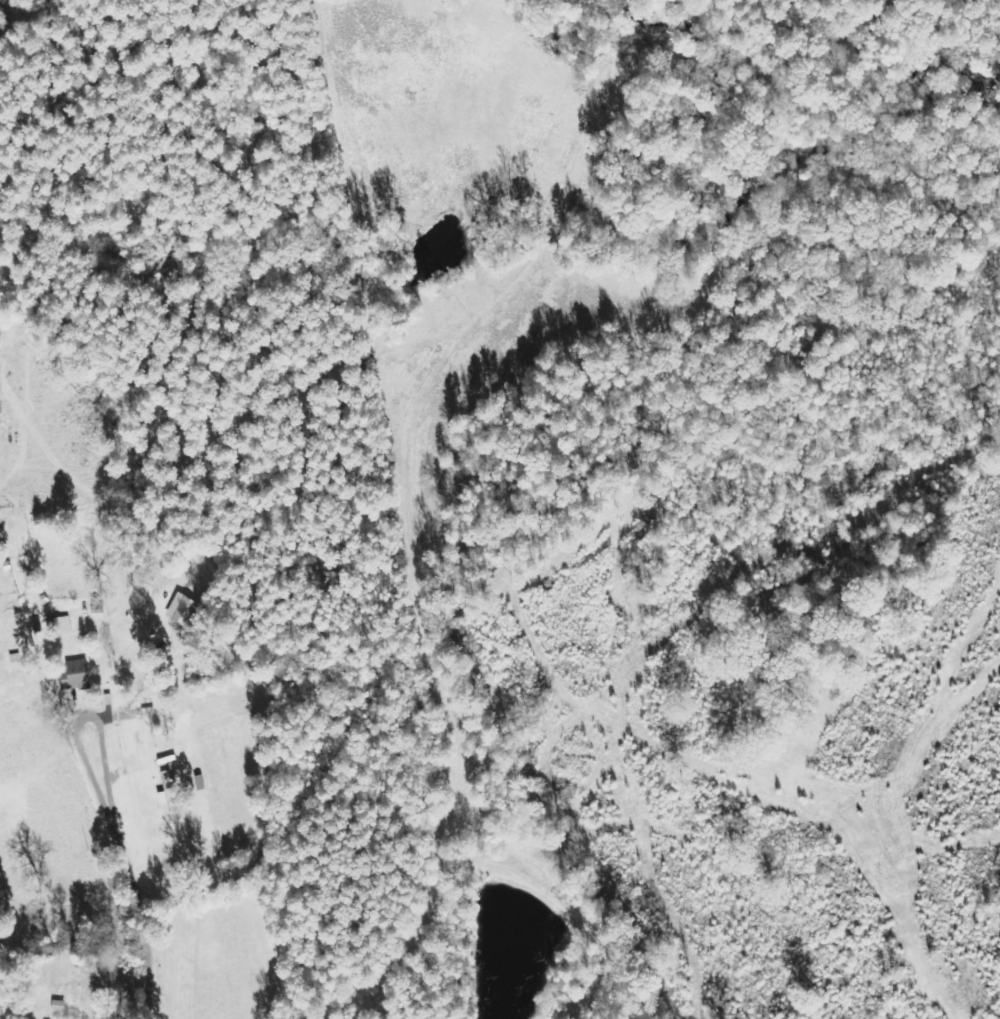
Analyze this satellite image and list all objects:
building: (180, 608)
building: (60, 625)
building: (76, 675)
building: (173, 788)
road: (119, 866)

